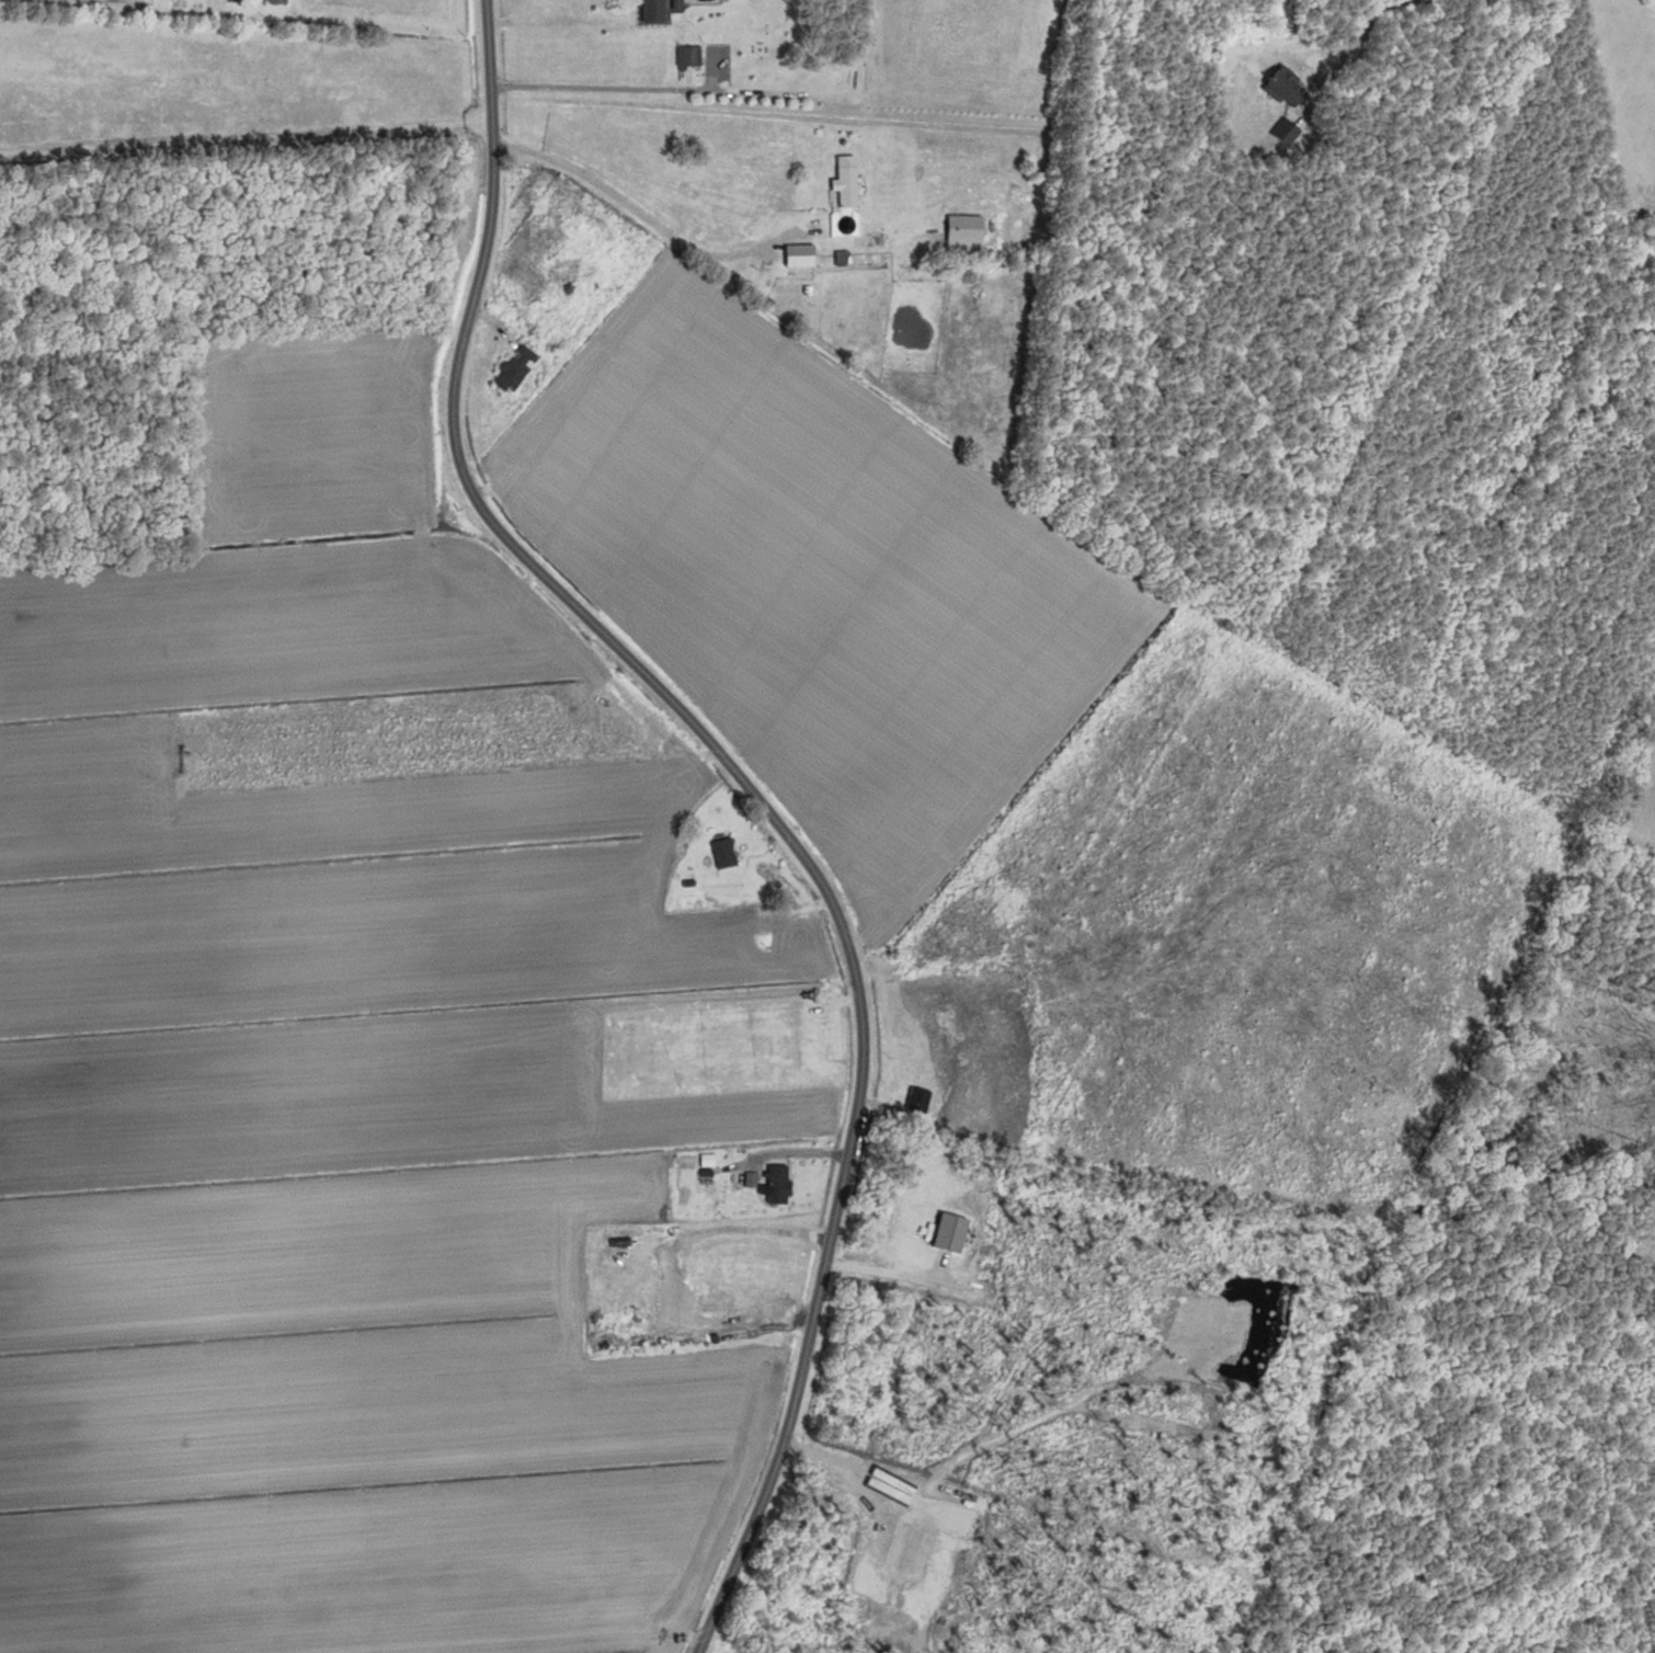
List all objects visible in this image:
building: (276, 1)
building: (651, 11)
building: (687, 56)
road: (606, 88)
building: (1285, 88)
building: (1285, 132)
building: (845, 182)
road: (630, 206)
building: (861, 252)
building: (798, 255)
building: (515, 369)
road: (754, 790)
building: (723, 852)
building: (445, 991)
building: (916, 1099)
building: (777, 1184)
road: (753, 1227)
road: (883, 1269)
building: (671, 1290)

